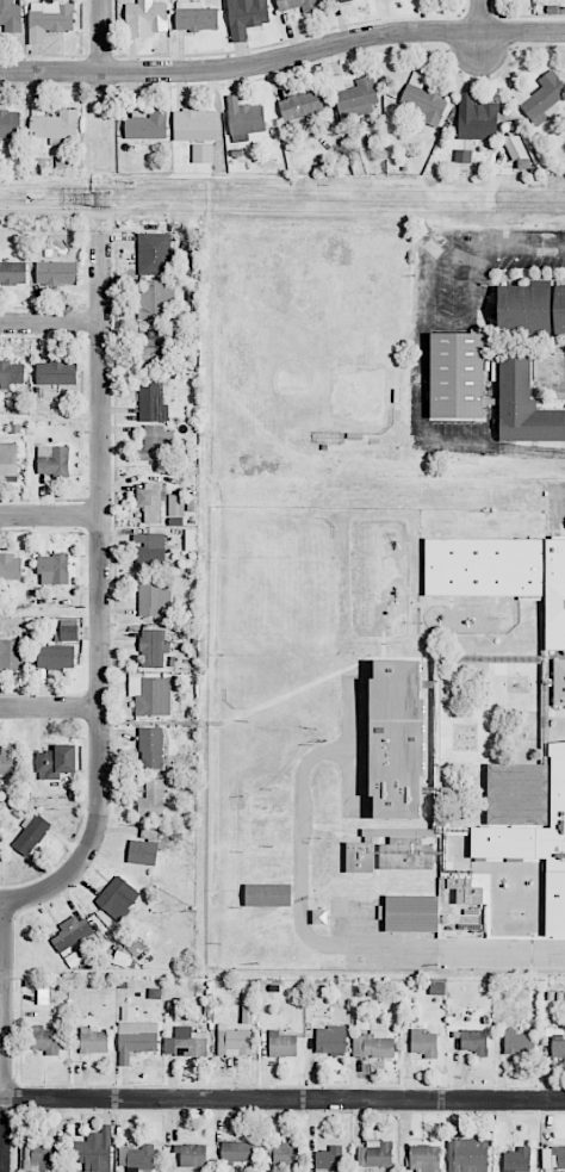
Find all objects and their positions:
building: (334, 0)
building: (298, 5)
building: (11, 15)
building: (195, 17)
building: (246, 17)
building: (145, 18)
building: (49, 19)
road: (480, 29)
road: (99, 36)
road: (282, 56)
building: (539, 94)
building: (356, 98)
building: (423, 100)
building: (302, 106)
building: (244, 117)
building: (52, 123)
building: (478, 123)
building: (10, 124)
building: (147, 125)
building: (194, 125)
building: (514, 147)
building: (203, 154)
power tower: (103, 199)
building: (154, 253)
building: (12, 273)
building: (56, 273)
building: (154, 299)
building: (524, 308)
building: (559, 312)
road: (50, 323)
road: (422, 355)
building: (151, 356)
building: (11, 373)
building: (56, 373)
building: (457, 374)
building: (151, 403)
building: (523, 404)
building: (156, 442)
building: (7, 460)
building: (52, 460)
building: (151, 501)
building: (175, 504)
road: (50, 516)
building: (149, 551)
building: (11, 566)
building: (54, 569)
building: (502, 573)
road: (101, 590)
building: (155, 600)
building: (68, 633)
building: (153, 647)
building: (10, 653)
building: (55, 657)
building: (558, 682)
building: (150, 694)
road: (50, 706)
building: (396, 739)
building: (150, 748)
building: (8, 758)
building: (56, 762)
building: (151, 800)
building: (267, 808)
building: (528, 824)
building: (268, 833)
building: (30, 835)
building: (143, 848)
building: (389, 851)
building: (267, 864)
building: (267, 894)
building: (117, 898)
road: (1, 900)
building: (411, 913)
building: (319, 917)
building: (69, 932)
building: (43, 996)
building: (128, 1013)
building: (237, 1033)
road: (2, 1035)
building: (330, 1038)
building: (44, 1040)
building: (136, 1040)
building: (93, 1041)
building: (474, 1041)
building: (188, 1042)
building: (519, 1042)
building: (423, 1043)
building: (557, 1043)
building: (281, 1044)
building: (372, 1044)
road: (282, 1098)
building: (94, 1151)
building: (236, 1152)
building: (285, 1153)
building: (192, 1154)
building: (374, 1154)
building: (467, 1155)
building: (553, 1157)
building: (42, 1158)
building: (137, 1158)
building: (424, 1158)
building: (329, 1159)
building: (517, 1160)

